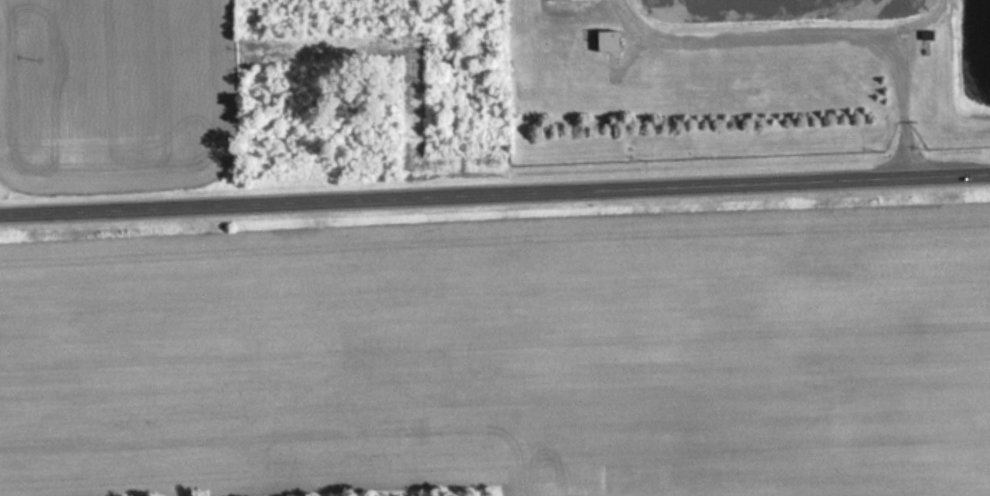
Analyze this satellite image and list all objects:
road: (816, 33)
building: (606, 42)
road: (494, 190)

